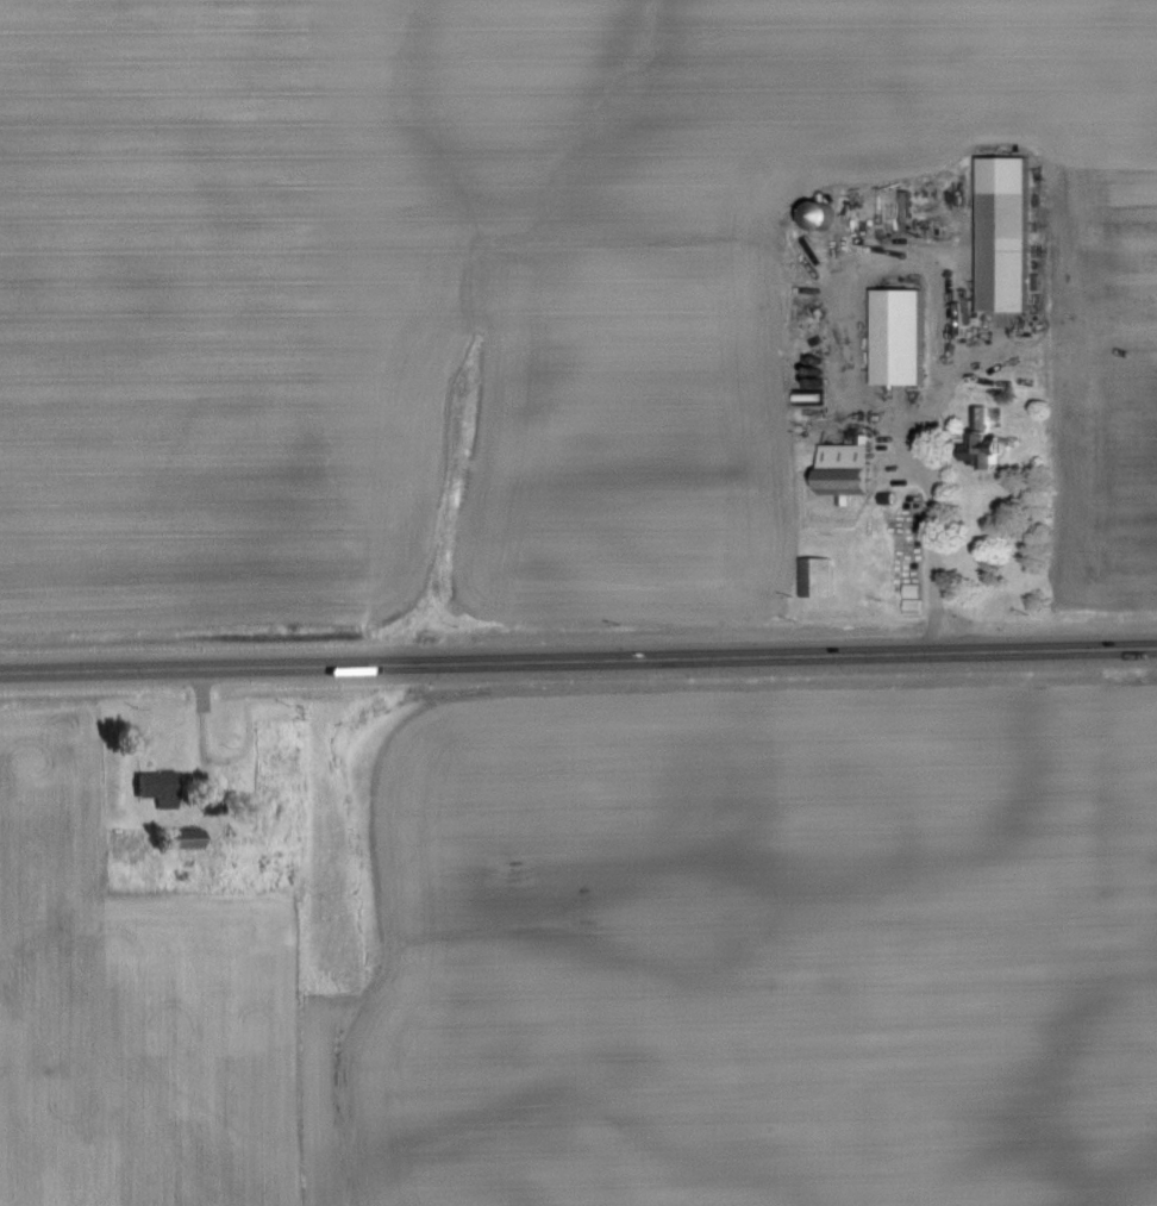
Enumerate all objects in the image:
silo: (818, 217)
building: (1001, 233)
road: (951, 299)
building: (895, 337)
silo: (817, 371)
silo: (817, 381)
building: (980, 440)
building: (844, 470)
building: (814, 576)
building: (914, 598)
road: (577, 656)
building: (161, 787)
building: (186, 838)

